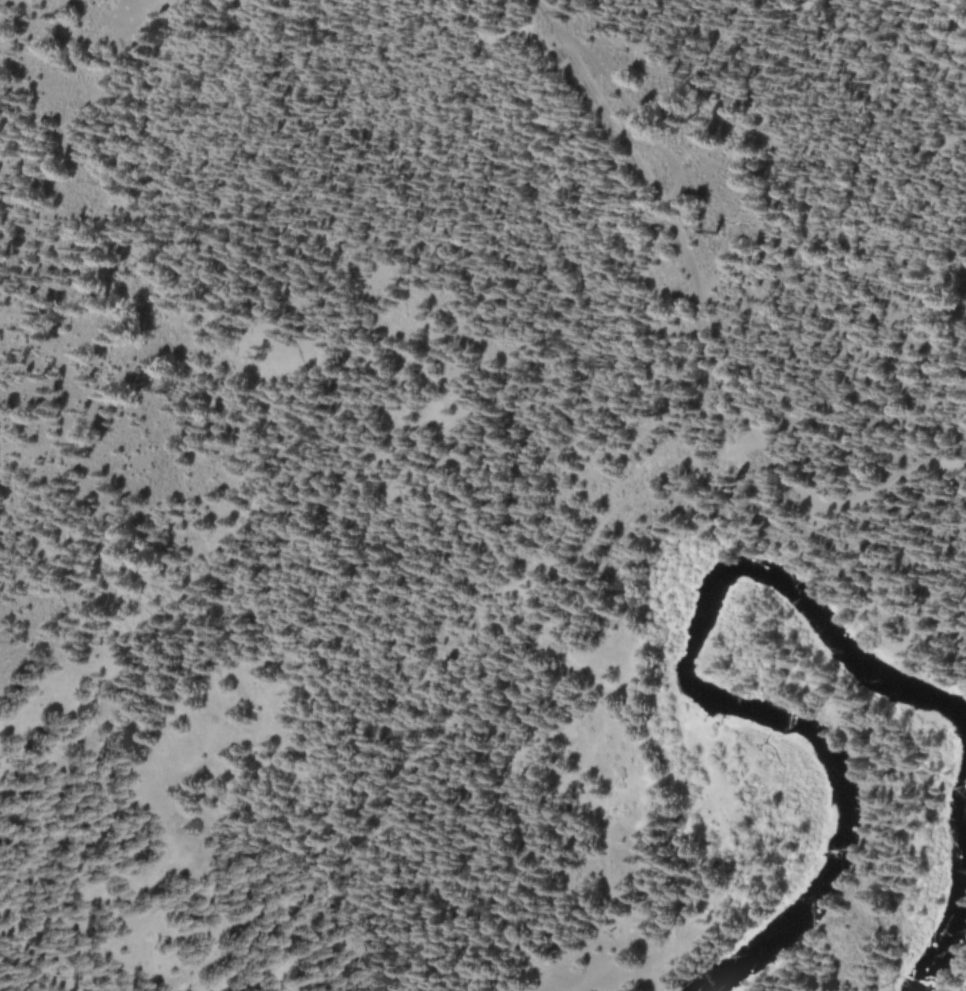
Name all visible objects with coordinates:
road: (670, 220)
parking lot: (770, 456)
road: (583, 569)
river: (729, 699)
river: (962, 893)

